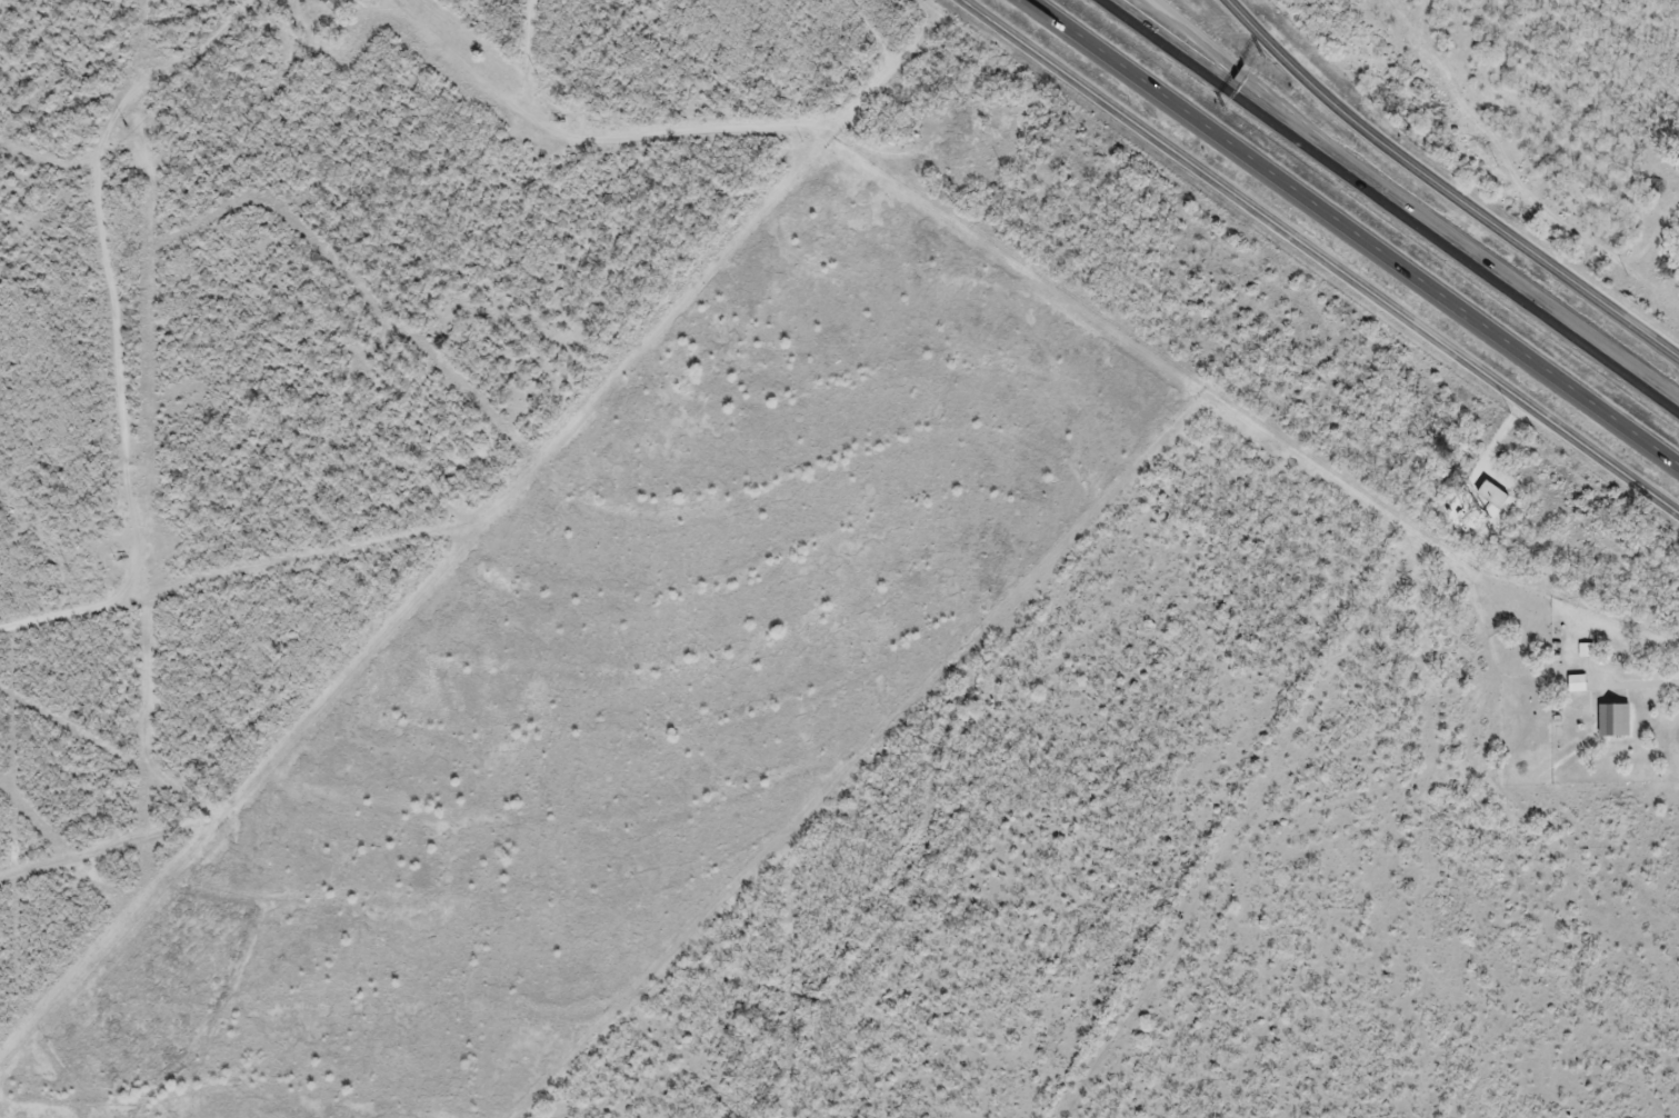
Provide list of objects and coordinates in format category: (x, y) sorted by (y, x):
building: (329, 2)
road: (1217, 63)
road: (1441, 193)
road: (1395, 204)
road: (1351, 233)
road: (1318, 257)
building: (1581, 652)
road: (1631, 687)
building: (1609, 721)

